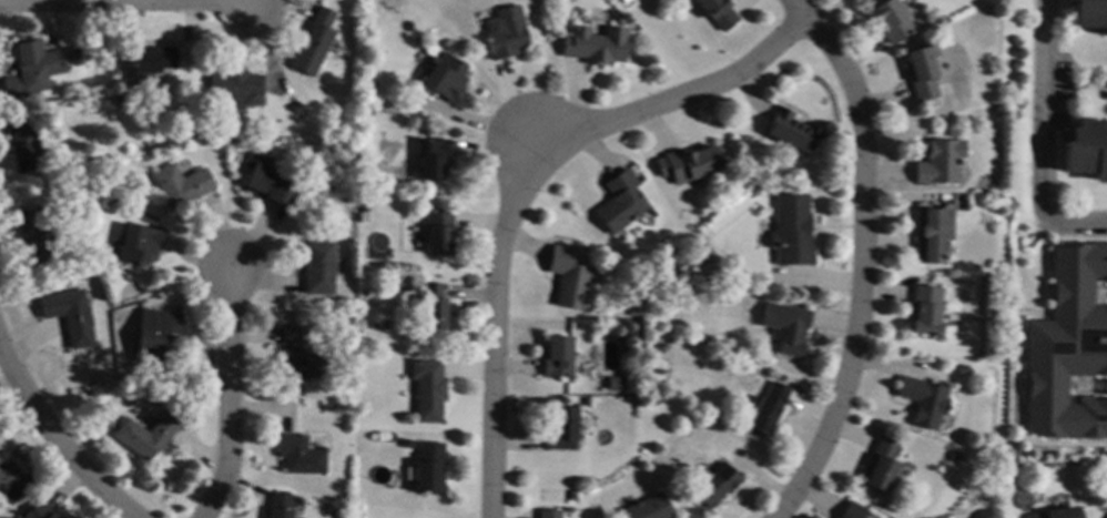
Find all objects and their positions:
building: (624, 1)
road: (90, 2)
road: (237, 4)
building: (718, 13)
building: (1090, 14)
building: (890, 22)
building: (507, 34)
building: (314, 43)
building: (595, 47)
road: (1056, 59)
building: (150, 61)
building: (110, 65)
building: (32, 71)
building: (921, 73)
building: (445, 79)
road: (1087, 79)
road: (1106, 82)
building: (236, 90)
road: (1055, 126)
building: (193, 130)
building: (791, 133)
road: (1055, 134)
road: (1066, 134)
road: (1043, 138)
building: (22, 144)
building: (1087, 151)
building: (349, 156)
building: (431, 159)
building: (938, 163)
building: (688, 164)
building: (266, 181)
road: (522, 184)
building: (180, 186)
building: (347, 196)
building: (620, 202)
building: (363, 211)
building: (791, 232)
building: (437, 233)
building: (34, 235)
building: (931, 235)
building: (138, 245)
road: (863, 256)
building: (669, 265)
building: (317, 268)
building: (661, 272)
building: (567, 278)
building: (985, 282)
building: (398, 286)
road: (1099, 291)
road: (1104, 295)
building: (431, 307)
building: (924, 312)
building: (632, 313)
building: (69, 317)
road: (1039, 317)
building: (347, 318)
building: (786, 328)
building: (155, 336)
building: (1067, 347)
road: (1022, 354)
building: (296, 357)
building: (557, 358)
road: (1017, 359)
building: (959, 369)
building: (612, 384)
road: (1090, 387)
road: (1074, 389)
building: (92, 390)
building: (427, 390)
road: (231, 394)
building: (922, 402)
building: (586, 404)
building: (326, 408)
building: (766, 412)
building: (560, 430)
building: (145, 437)
road: (53, 438)
building: (406, 444)
building: (298, 456)
building: (952, 457)
building: (0, 460)
building: (881, 467)
building: (428, 469)
building: (8, 475)
building: (715, 487)
building: (991, 491)
building: (571, 496)
building: (278, 506)
building: (649, 508)
building: (40, 511)
building: (852, 511)
building: (549, 514)
building: (1059, 514)
building: (339, 515)

